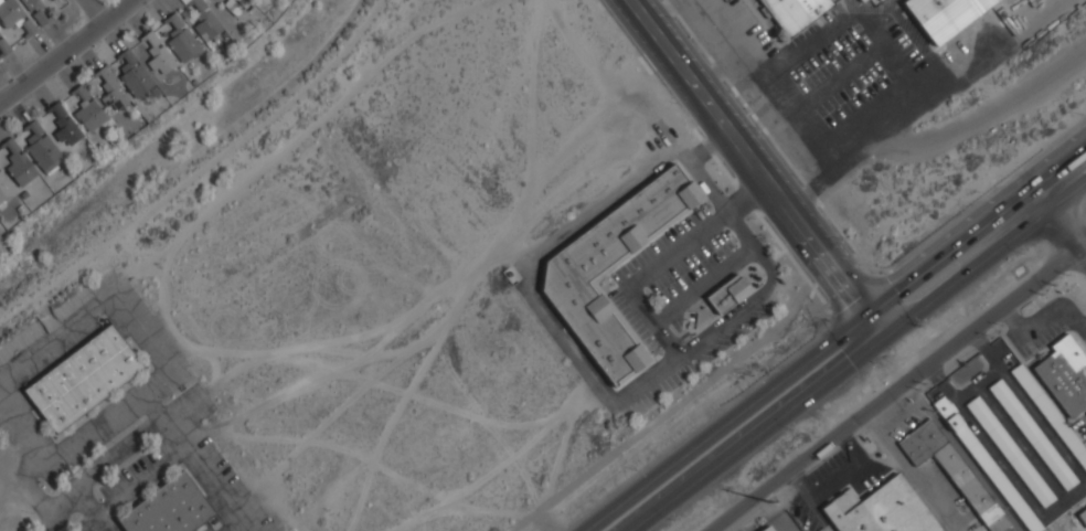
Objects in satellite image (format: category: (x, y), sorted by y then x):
building: (860, 0)
building: (862, 1)
building: (236, 6)
building: (35, 11)
road: (96, 11)
building: (794, 13)
building: (945, 15)
building: (203, 20)
road: (1042, 21)
building: (180, 39)
building: (3, 46)
road: (67, 51)
building: (158, 54)
road: (714, 63)
road: (753, 66)
building: (134, 74)
building: (111, 91)
road: (941, 94)
building: (88, 110)
street lamp: (1082, 115)
building: (65, 126)
road: (939, 132)
building: (41, 147)
building: (18, 163)
road: (756, 167)
building: (4, 190)
street lamp: (978, 192)
road: (1058, 221)
street lamp: (1023, 254)
building: (576, 272)
building: (728, 294)
road: (103, 306)
traffic signals: (866, 314)
street lamp: (827, 320)
street lamp: (919, 327)
traffic signals: (883, 337)
road: (832, 338)
road: (858, 355)
building: (967, 371)
building: (1064, 375)
street lamp: (753, 376)
building: (83, 379)
road: (899, 385)
building: (1050, 414)
street lamp: (794, 431)
building: (1032, 435)
building: (1009, 452)
road: (102, 463)
building: (986, 464)
street lamp: (635, 470)
building: (954, 474)
power tower: (767, 501)
building: (169, 508)
building: (880, 510)
building: (1083, 516)
street lamp: (674, 521)
building: (766, 529)

